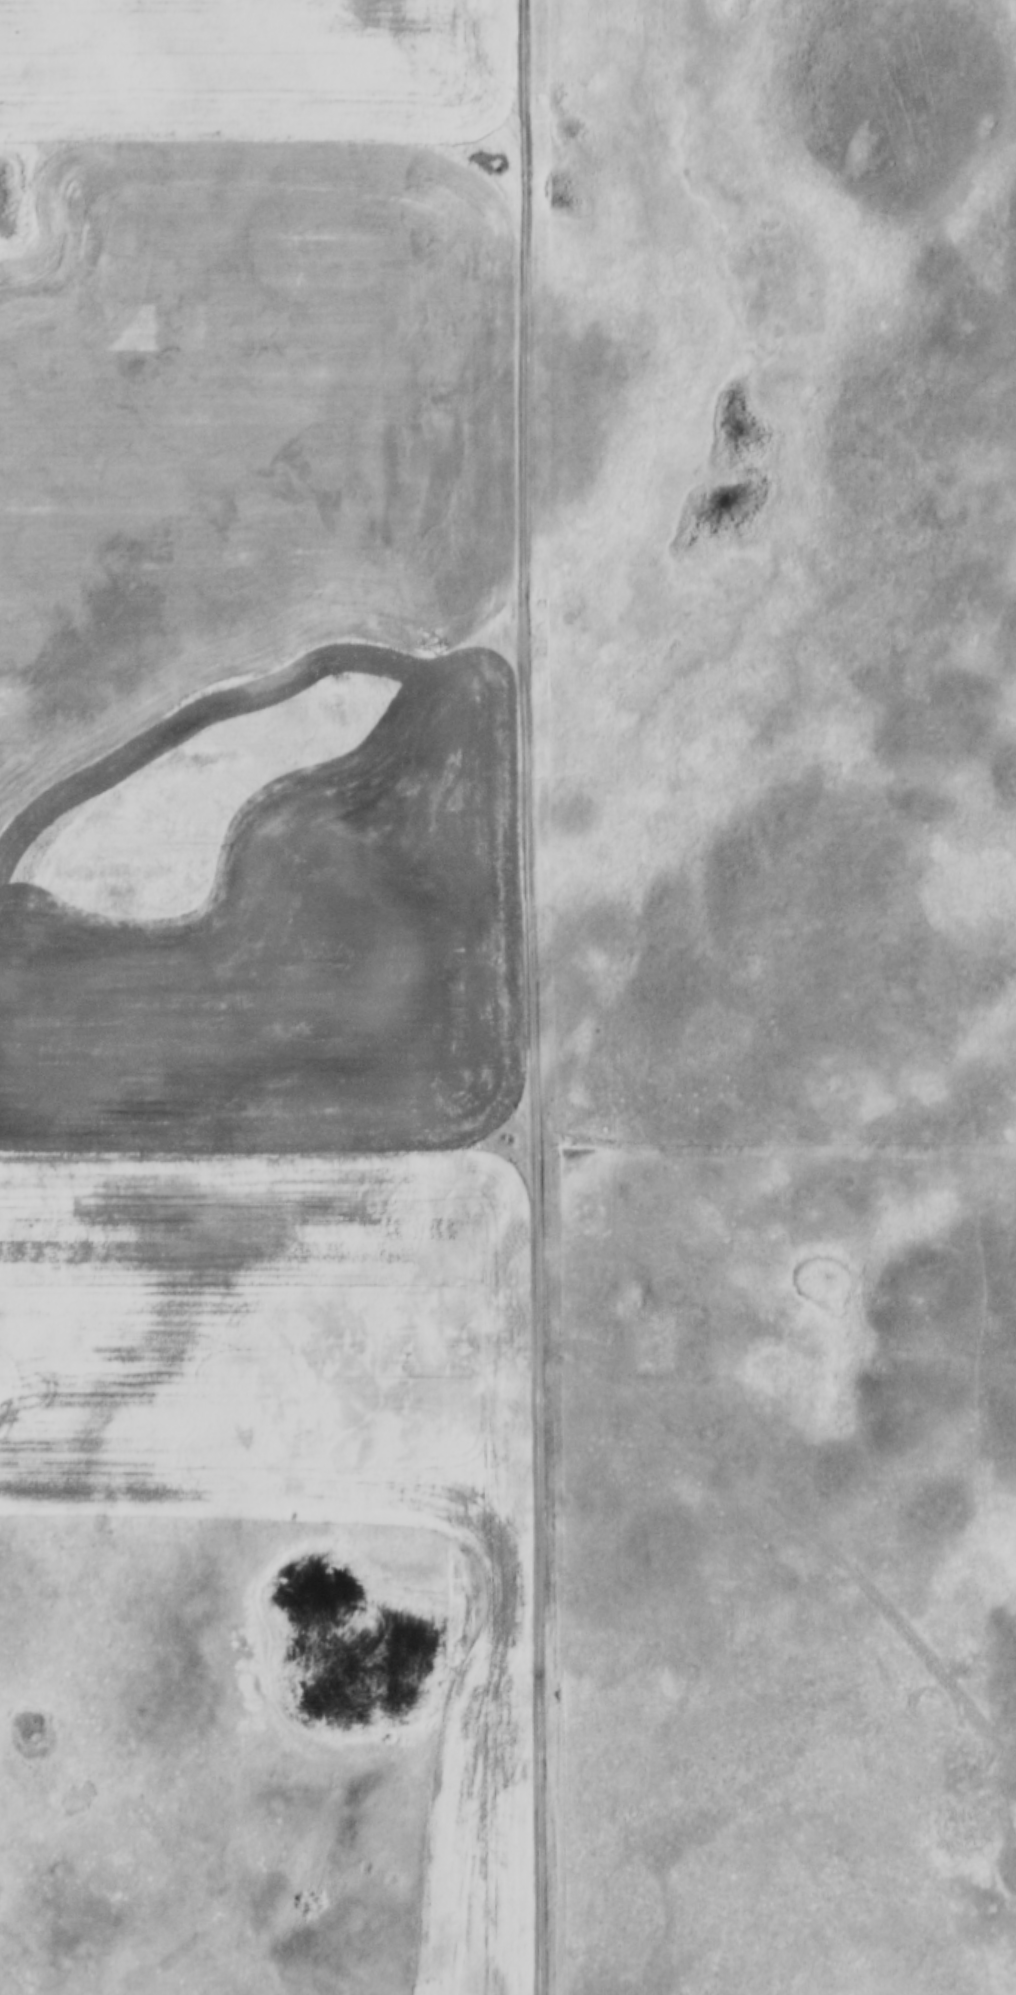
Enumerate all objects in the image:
road: (530, 997)
road: (800, 1519)
quarry: (971, 1808)

